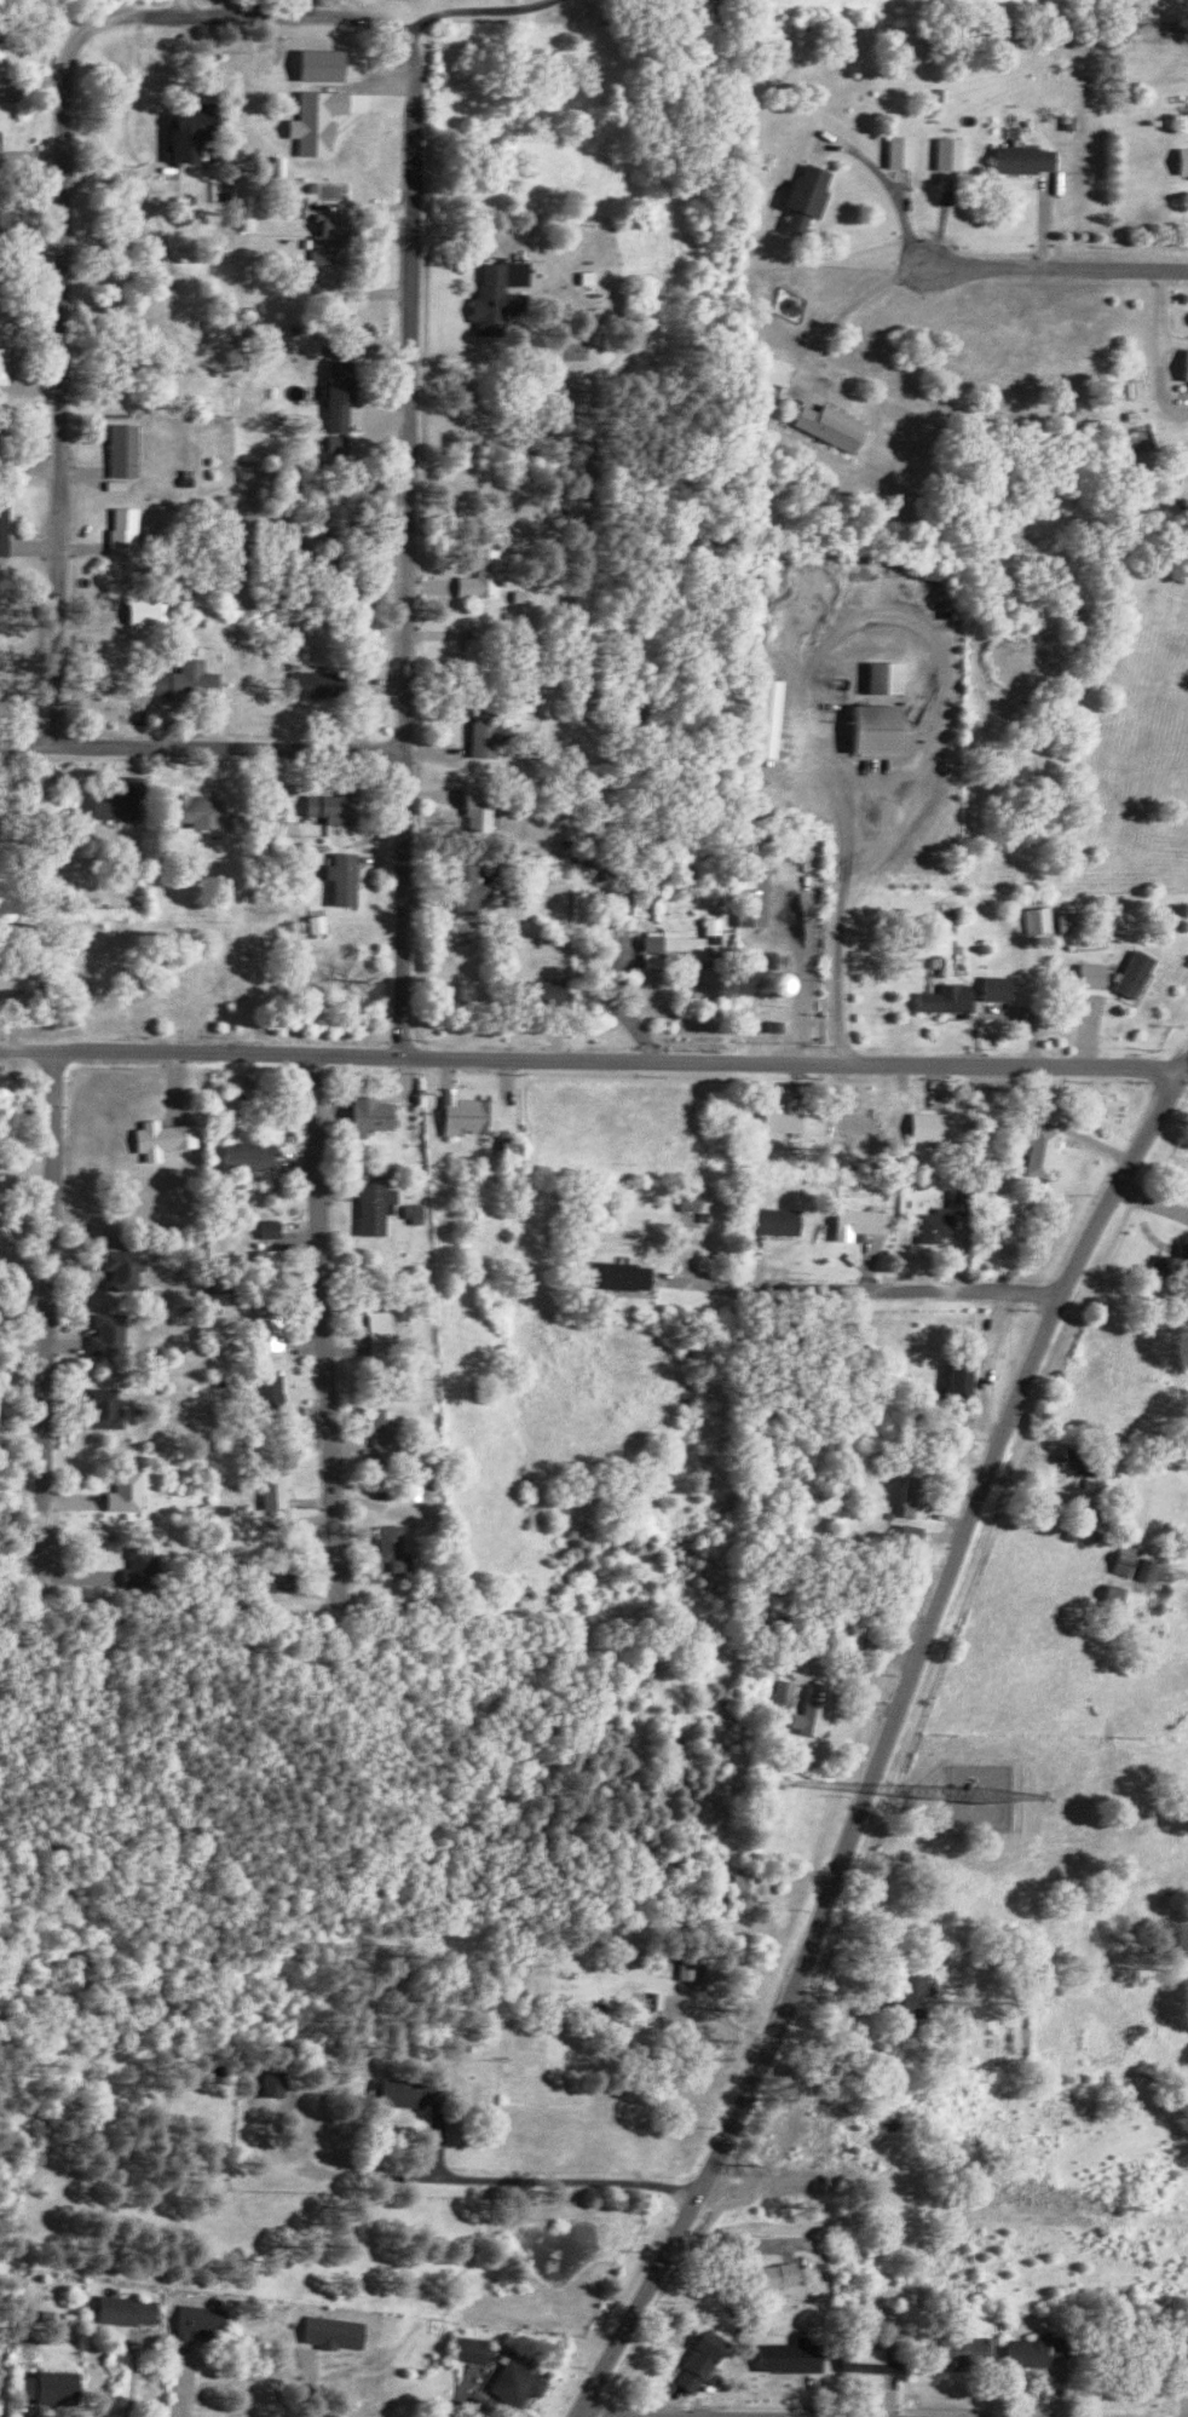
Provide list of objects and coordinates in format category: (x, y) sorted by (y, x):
road: (186, 8)
road: (477, 11)
building: (2, 63)
building: (324, 64)
building: (321, 120)
building: (189, 132)
building: (0, 138)
road: (156, 138)
building: (906, 150)
building: (956, 152)
building: (1031, 159)
building: (1186, 160)
building: (813, 194)
building: (4, 207)
road: (59, 214)
building: (333, 240)
road: (964, 265)
building: (592, 276)
building: (502, 294)
road: (843, 305)
road: (1163, 305)
building: (6, 307)
building: (6, 364)
building: (777, 370)
building: (344, 404)
building: (836, 425)
building: (129, 450)
building: (6, 528)
building: (128, 530)
road: (405, 541)
building: (488, 575)
road: (817, 633)
building: (479, 654)
building: (889, 677)
building: (189, 678)
building: (317, 684)
building: (771, 718)
building: (881, 727)
road: (200, 741)
building: (123, 801)
building: (341, 807)
building: (483, 807)
building: (202, 811)
building: (348, 877)
building: (477, 887)
building: (759, 898)
building: (1045, 920)
building: (323, 923)
building: (1073, 925)
road: (836, 940)
building: (687, 943)
building: (1141, 973)
building: (1098, 974)
building: (21, 978)
road: (801, 978)
building: (766, 984)
building: (1002, 988)
building: (548, 991)
building: (953, 1000)
road: (618, 1013)
building: (783, 1026)
road: (592, 1060)
building: (473, 1113)
building: (375, 1116)
building: (788, 1120)
building: (940, 1127)
building: (169, 1139)
building: (519, 1147)
building: (1046, 1150)
building: (256, 1156)
building: (698, 1201)
building: (380, 1208)
building: (420, 1213)
building: (779, 1221)
building: (867, 1224)
building: (942, 1225)
building: (276, 1228)
building: (276, 1260)
building: (1173, 1261)
building: (128, 1264)
building: (627, 1276)
road: (831, 1287)
road: (45, 1310)
road: (327, 1325)
building: (385, 1333)
building: (114, 1335)
building: (279, 1339)
road: (985, 1359)
building: (965, 1379)
building: (276, 1388)
building: (110, 1409)
building: (390, 1428)
building: (1079, 1461)
building: (279, 1490)
building: (132, 1492)
building: (918, 1497)
building: (916, 1535)
building: (397, 1547)
building: (1135, 1559)
building: (1154, 1570)
building: (276, 1582)
building: (1120, 1595)
building: (857, 1623)
building: (790, 1688)
building: (818, 1711)
road: (883, 1740)
building: (752, 1886)
building: (696, 1968)
building: (921, 1992)
building: (647, 2028)
building: (279, 2083)
building: (409, 2091)
road: (478, 2180)
building: (782, 2275)
building: (132, 2309)
building: (207, 2323)
building: (340, 2332)
building: (477, 2348)
building: (973, 2349)
building: (1039, 2349)
building: (798, 2355)
building: (708, 2359)
building: (883, 2359)
building: (523, 2382)
building: (53, 2386)
road: (665, 2415)

